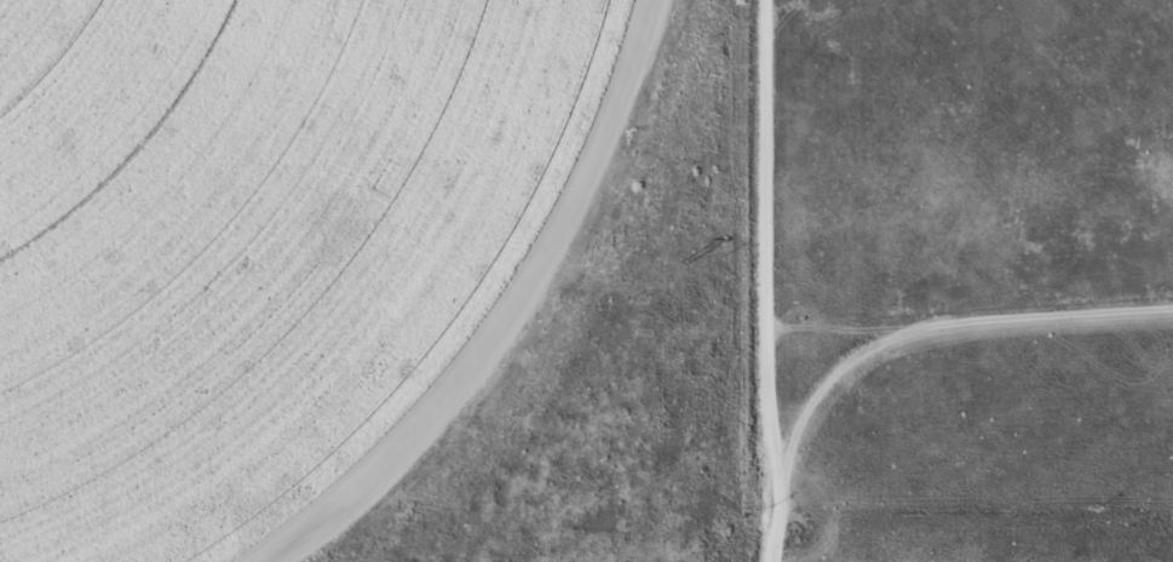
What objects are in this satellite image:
power tower: (680, 262)
road: (742, 281)

